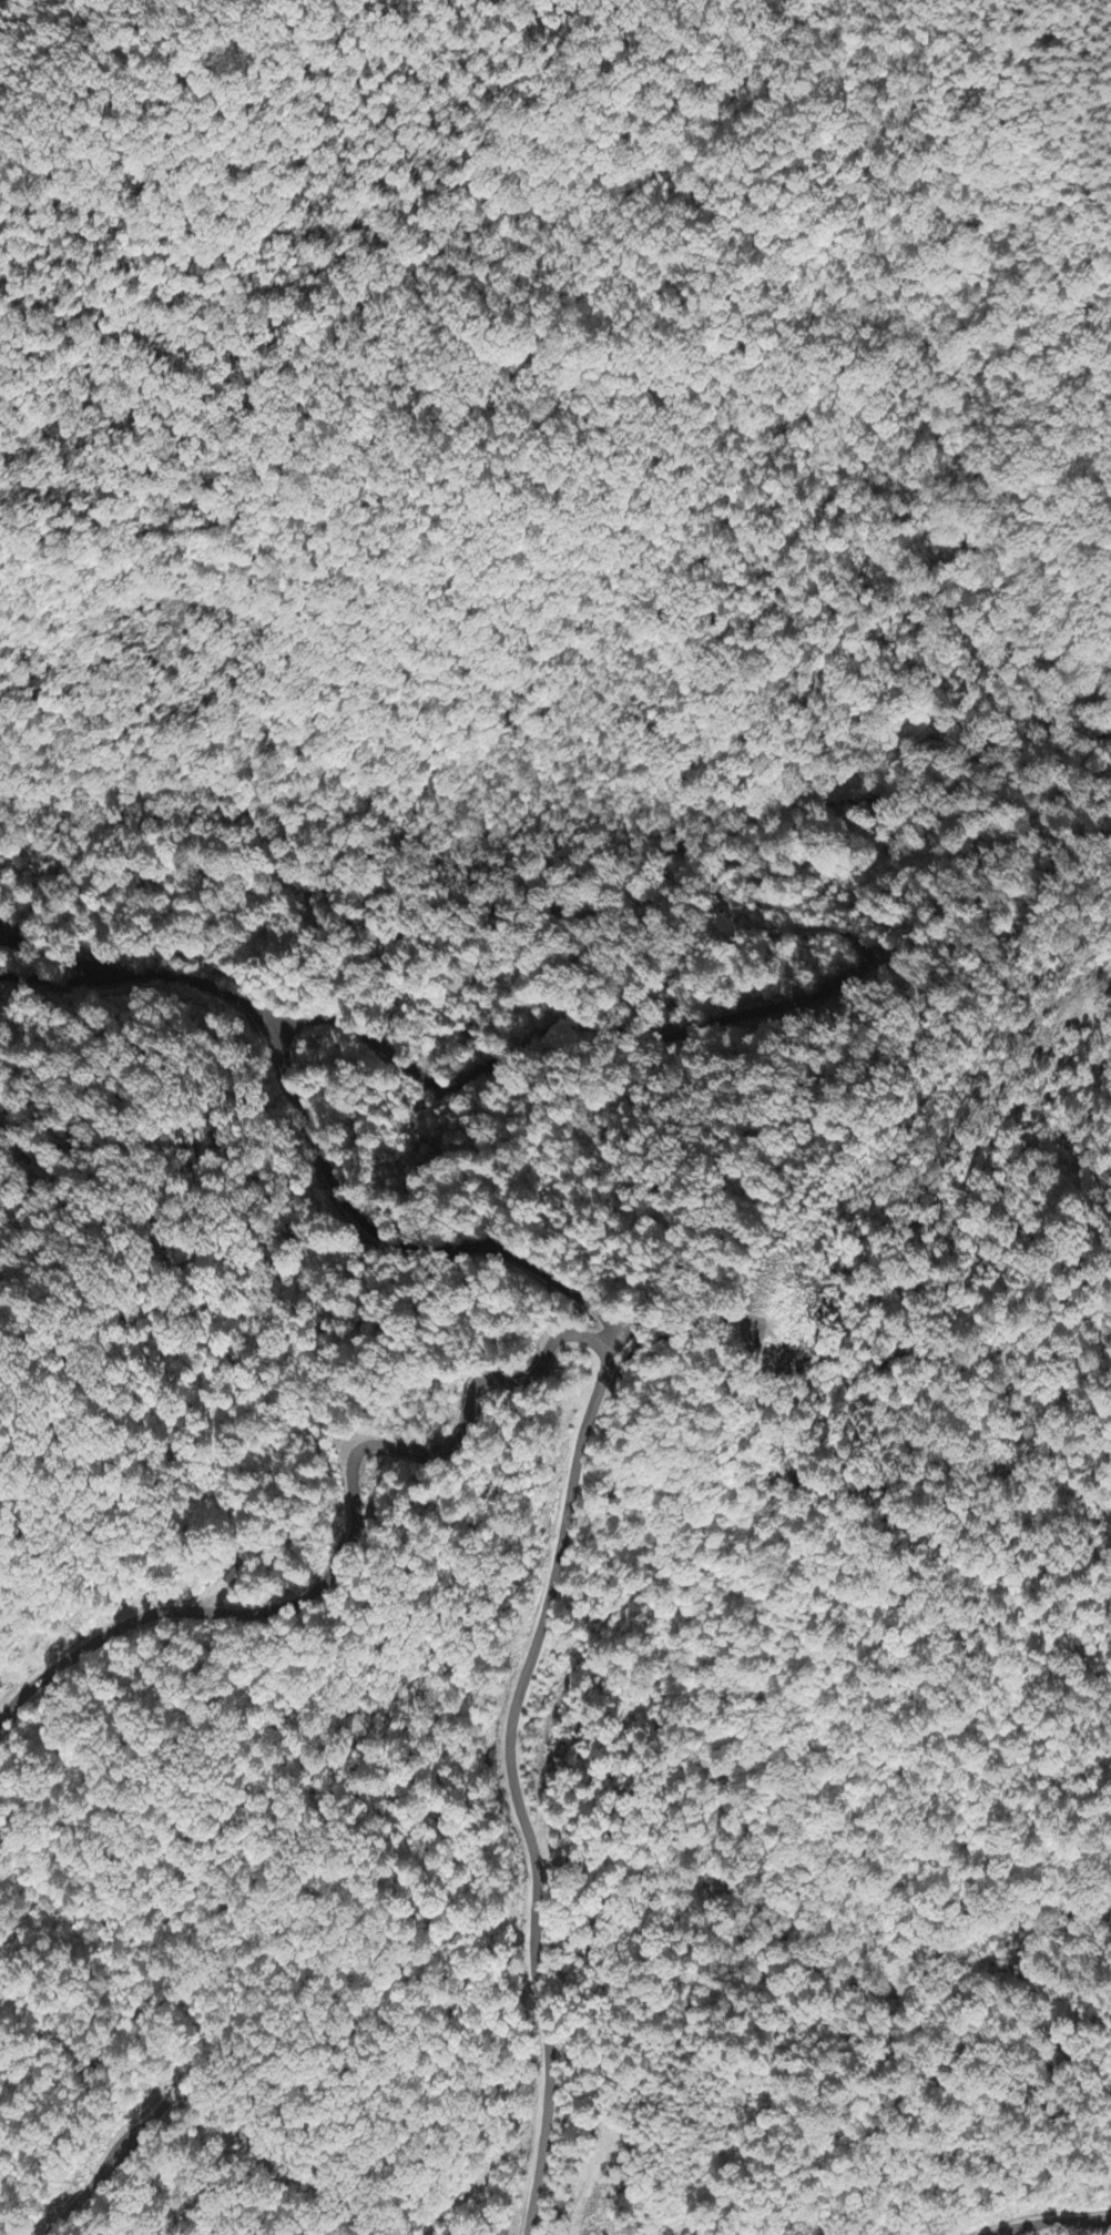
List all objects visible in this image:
road: (601, 1390)
building: (230, 1576)
road: (108, 2167)
road: (1048, 2222)

